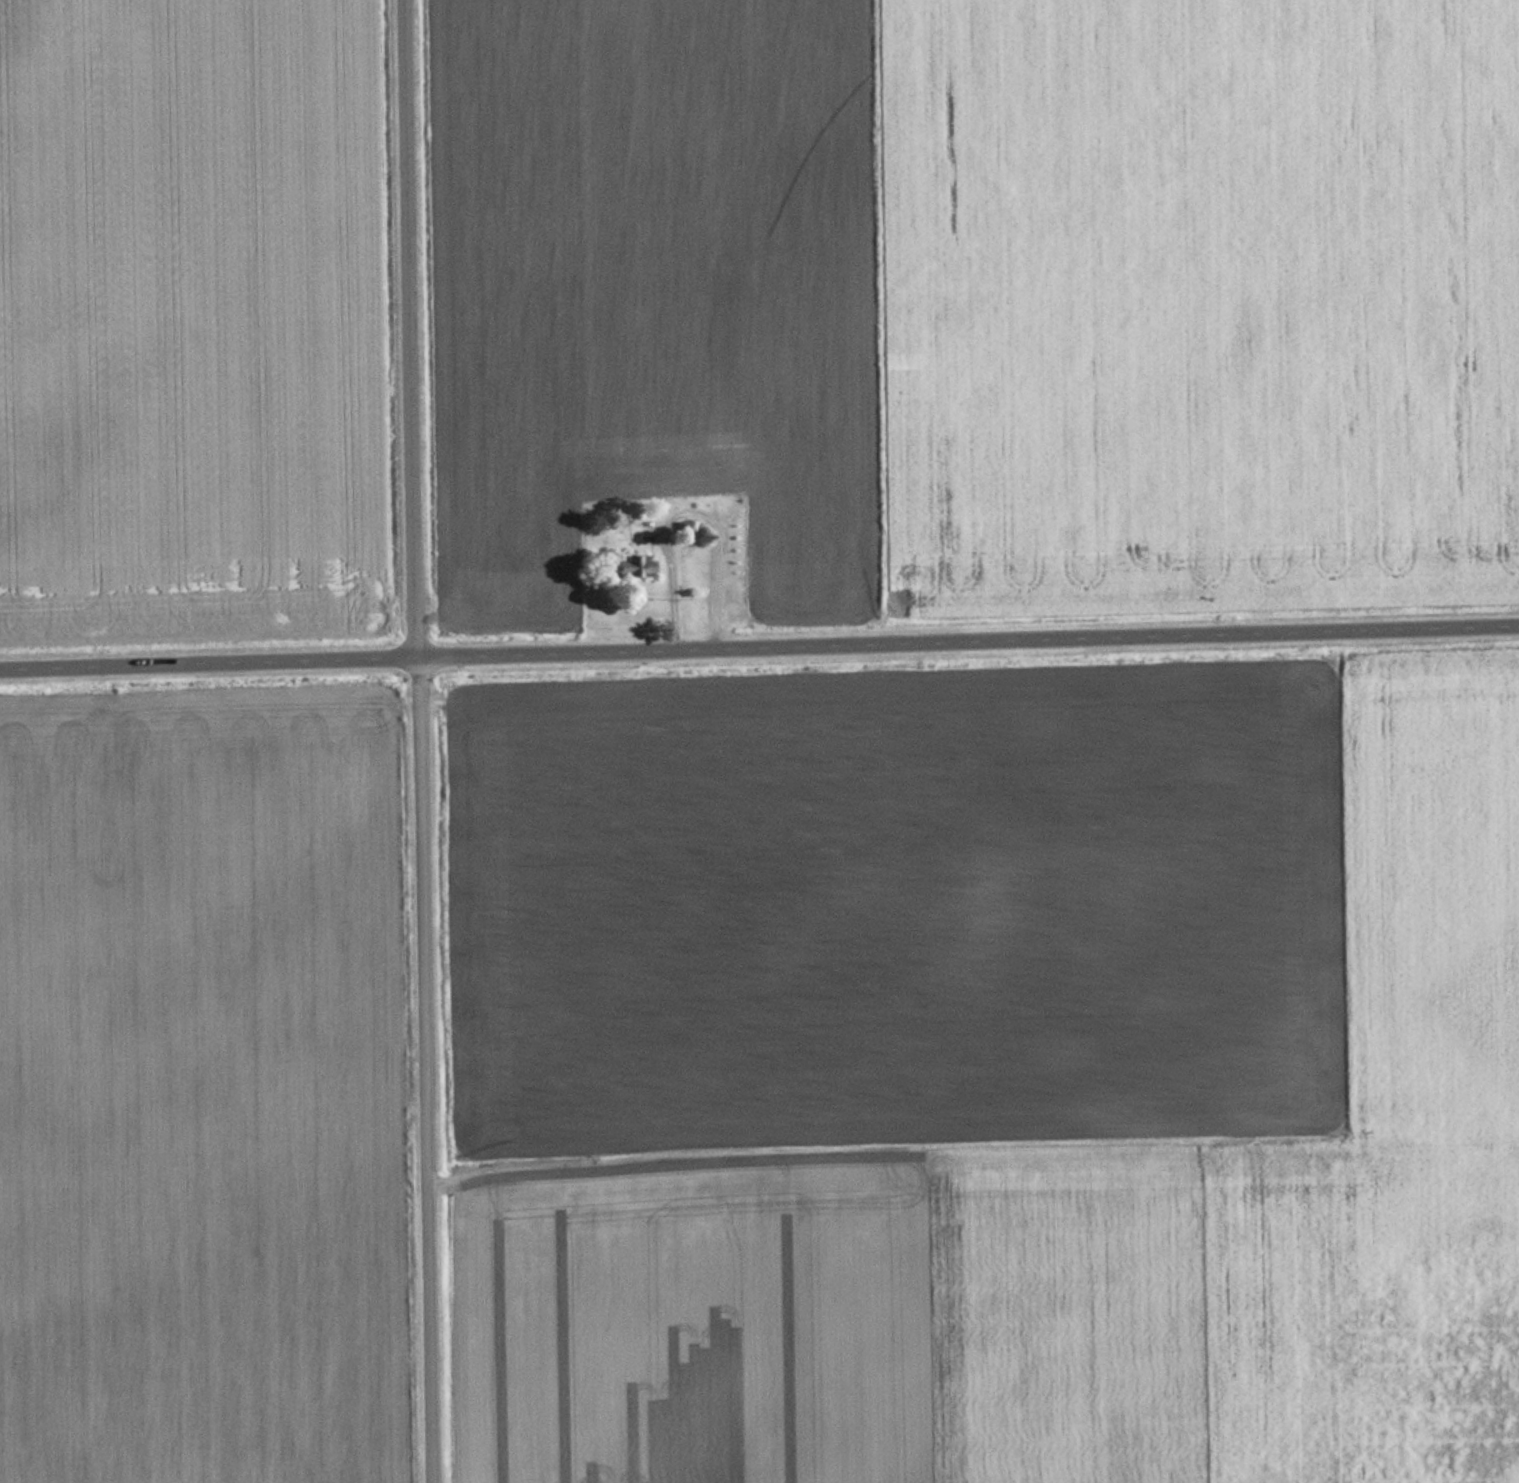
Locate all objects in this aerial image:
building: (683, 527)
building: (632, 565)
road: (759, 648)
road: (425, 741)

